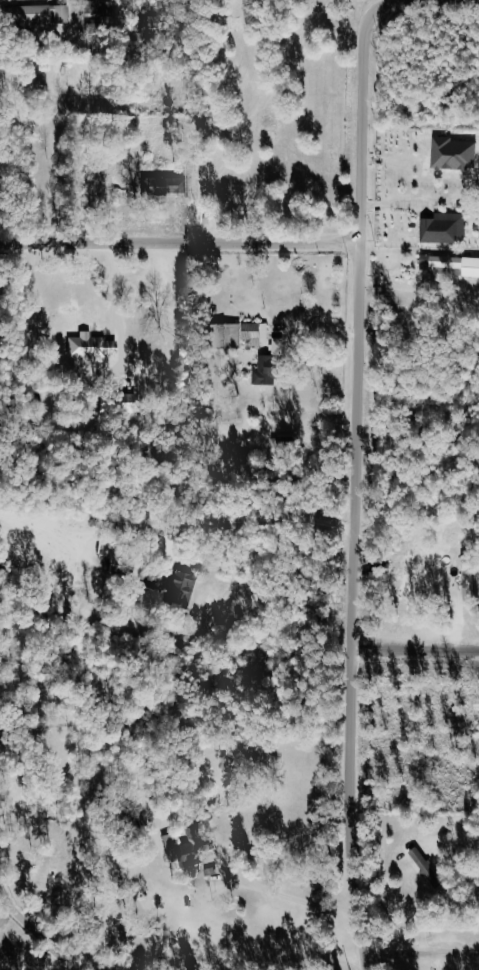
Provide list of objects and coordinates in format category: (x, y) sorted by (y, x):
road: (429, 0)
road: (371, 5)
building: (99, 9)
building: (38, 15)
road: (19, 90)
road: (211, 140)
building: (454, 153)
building: (165, 186)
building: (444, 228)
road: (181, 243)
building: (456, 265)
road: (115, 288)
road: (409, 288)
building: (238, 335)
building: (90, 347)
building: (265, 371)
road: (356, 486)
road: (263, 521)
building: (183, 587)
road: (415, 650)
building: (206, 843)
building: (173, 846)
building: (425, 865)
road: (33, 927)
road: (420, 955)
road: (447, 962)
road: (210, 969)

